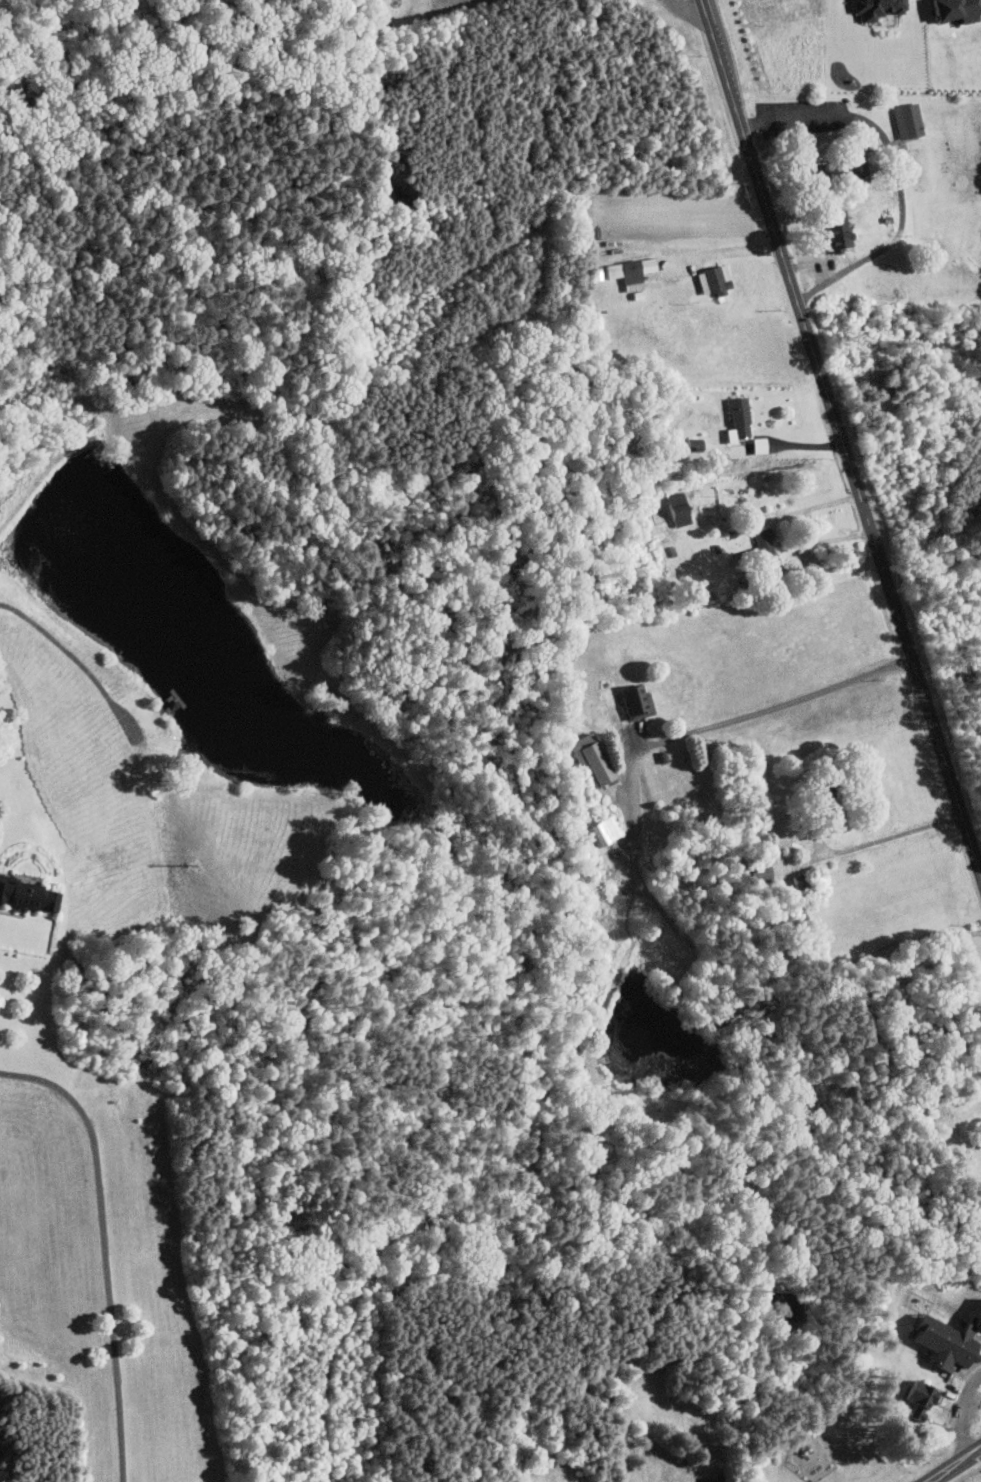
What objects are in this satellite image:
road: (687, 7)
building: (881, 8)
building: (909, 121)
building: (834, 170)
road: (895, 171)
building: (844, 234)
road: (719, 252)
building: (632, 272)
building: (716, 280)
building: (741, 420)
road: (840, 437)
building: (698, 444)
building: (761, 445)
building: (681, 509)
road: (783, 511)
road: (823, 539)
building: (759, 548)
road: (76, 659)
building: (640, 701)
road: (737, 726)
building: (606, 831)
road: (885, 837)
building: (30, 894)
road: (105, 1248)
building: (980, 1324)
building: (951, 1342)
building: (924, 1399)
road: (961, 1414)
road: (955, 1465)

